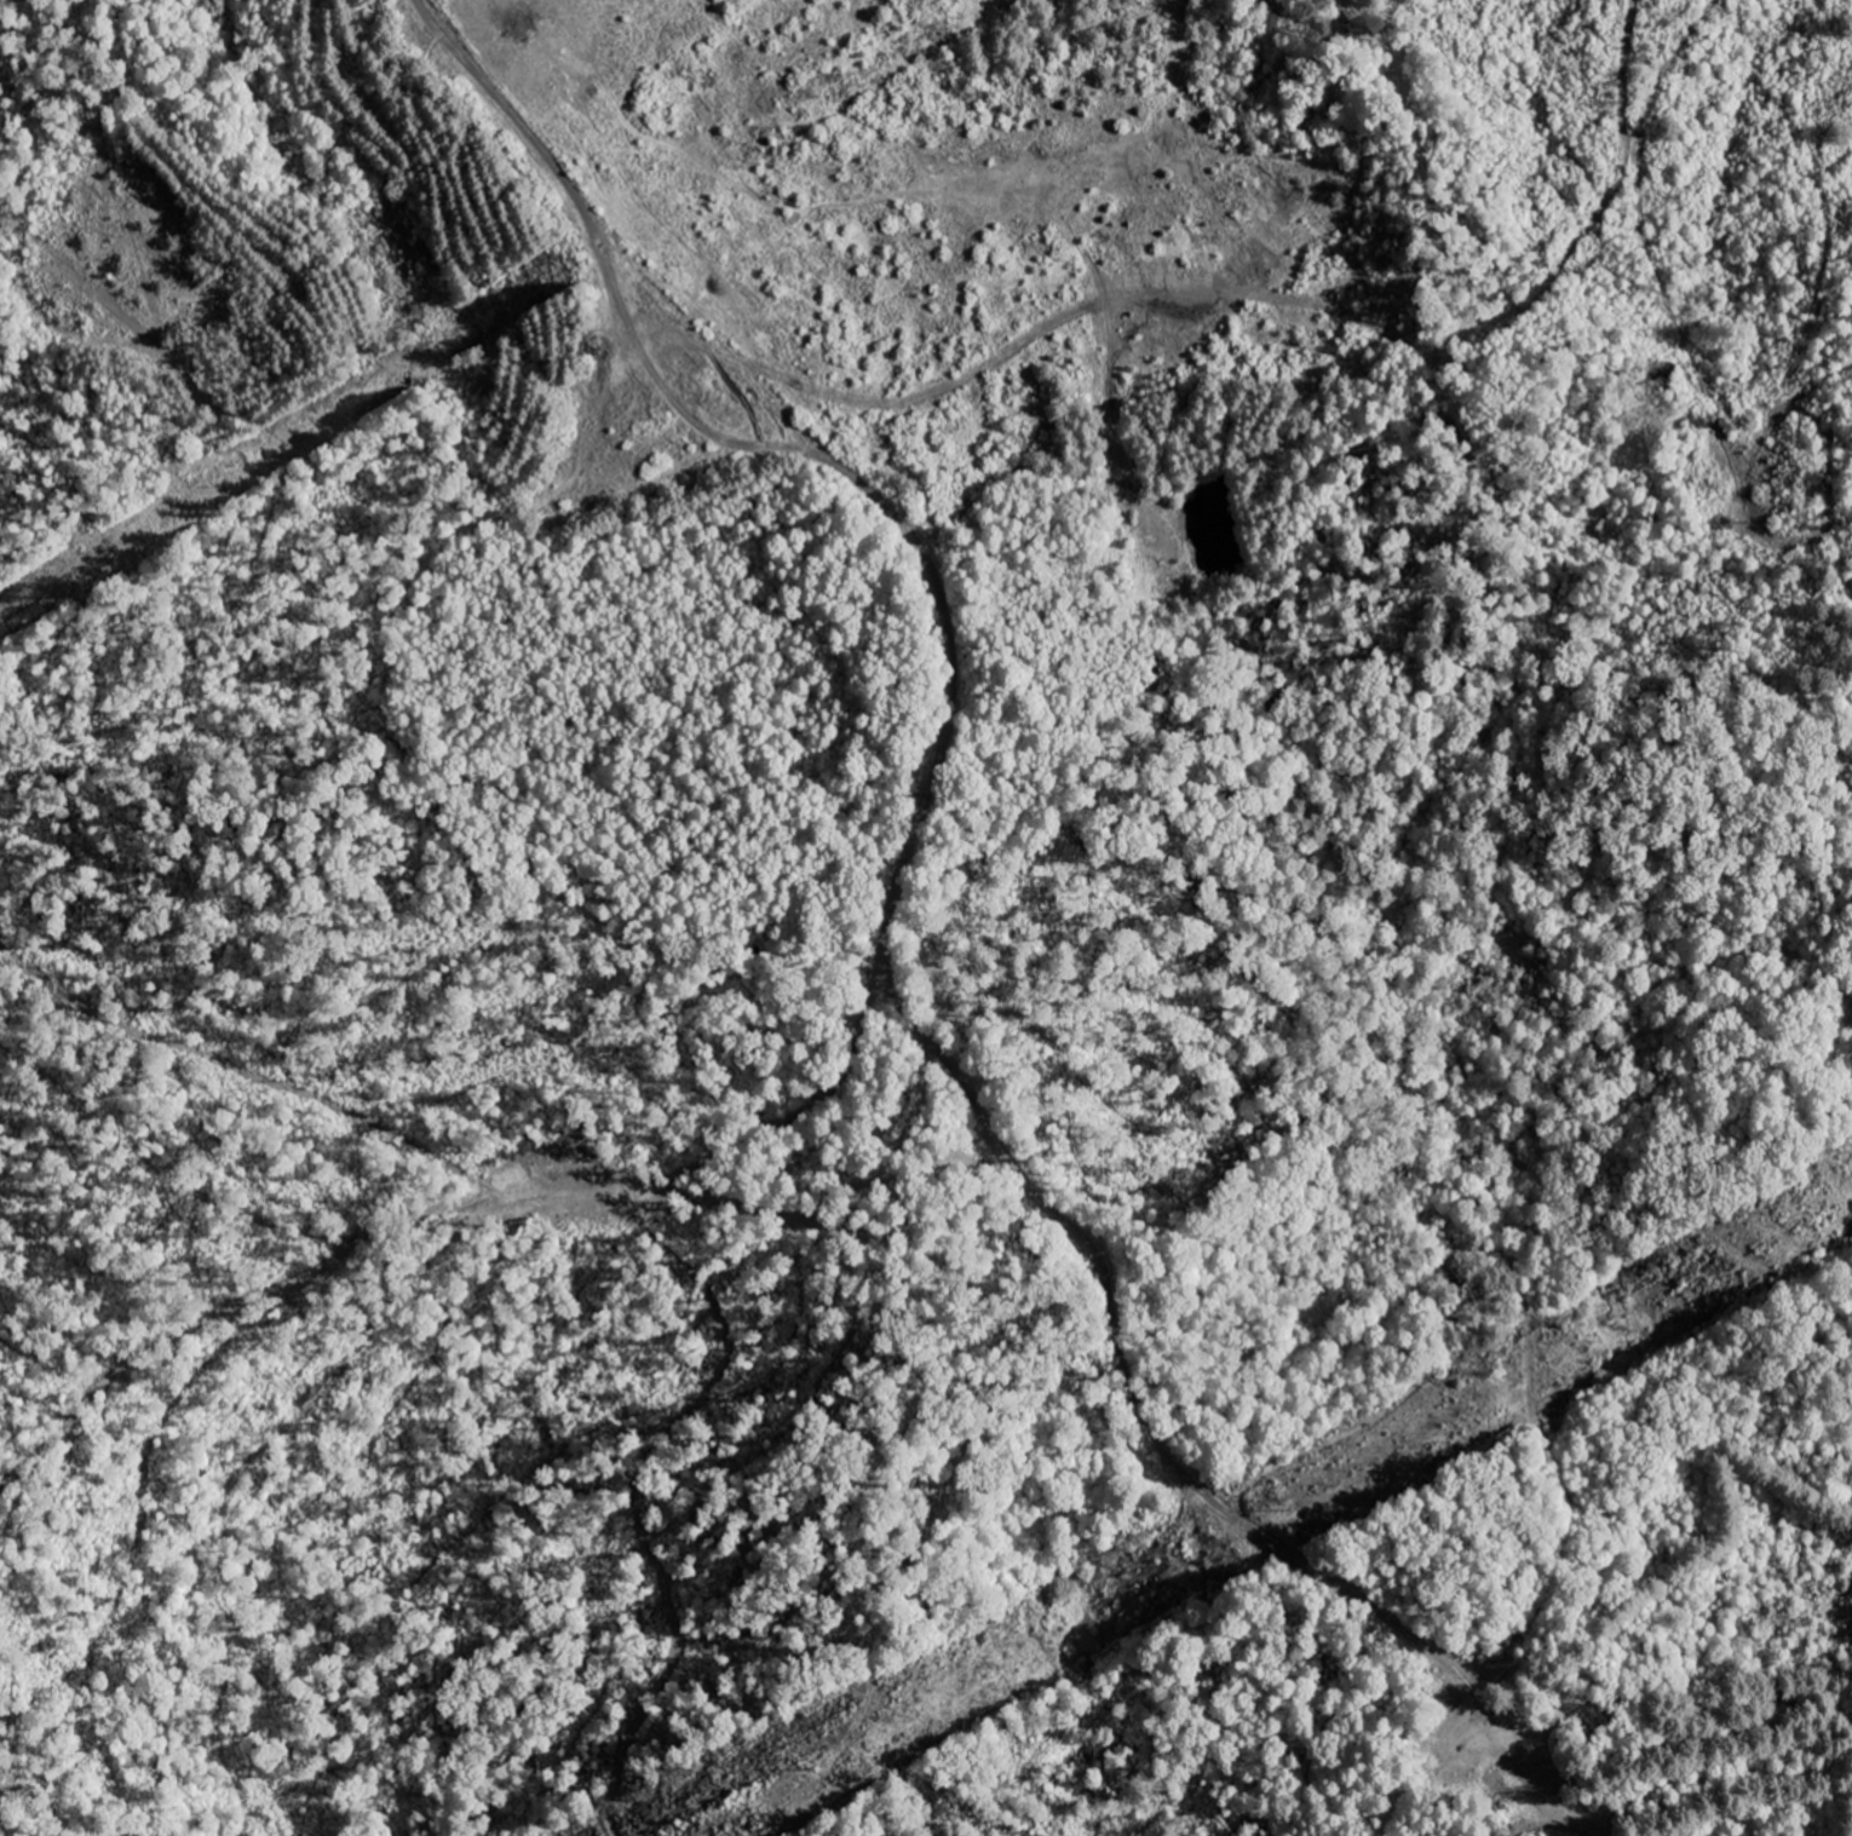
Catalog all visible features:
road: (1639, 167)
road: (885, 955)
road: (447, 1210)
road: (1528, 1341)

